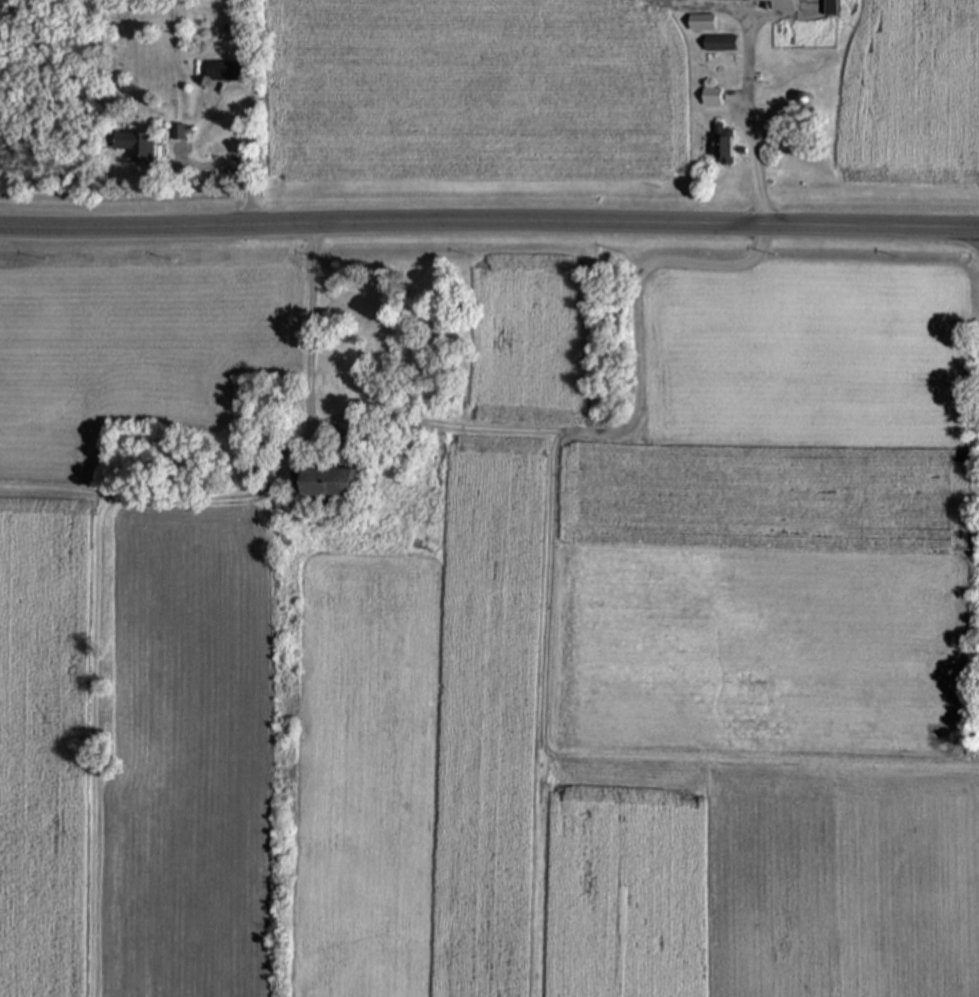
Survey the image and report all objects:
building: (783, 8)
building: (702, 25)
park: (165, 56)
building: (225, 73)
road: (747, 79)
building: (711, 100)
building: (722, 148)
building: (137, 149)
road: (489, 224)
road: (519, 431)
building: (330, 476)

